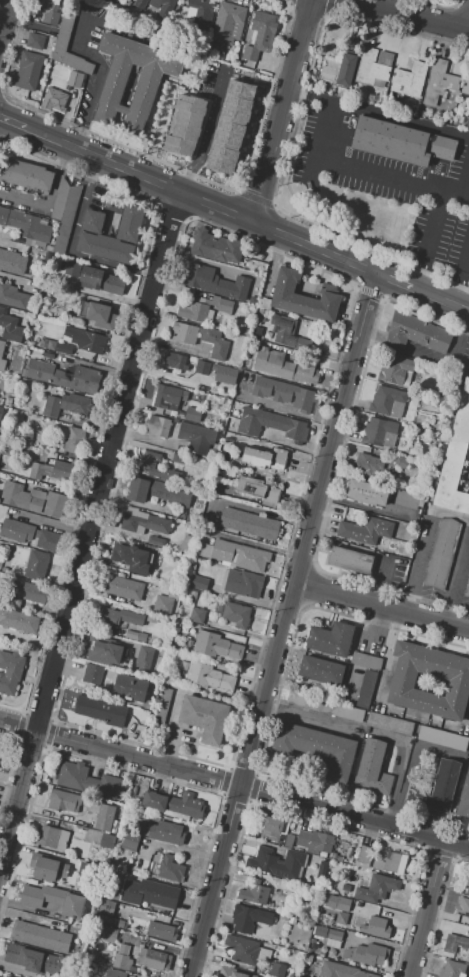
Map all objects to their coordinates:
building: (157, 7)
building: (48, 11)
road: (3, 13)
building: (202, 13)
road: (405, 16)
building: (228, 24)
road: (468, 28)
building: (64, 32)
building: (260, 35)
building: (36, 41)
building: (219, 57)
building: (374, 68)
building: (28, 70)
building: (338, 70)
road: (100, 75)
building: (74, 79)
building: (409, 80)
building: (439, 83)
building: (465, 86)
building: (168, 88)
building: (112, 91)
road: (307, 97)
building: (53, 100)
road: (278, 111)
building: (467, 120)
road: (400, 121)
building: (174, 122)
road: (13, 124)
building: (229, 125)
road: (206, 136)
building: (400, 142)
road: (101, 161)
road: (367, 169)
building: (25, 174)
building: (60, 199)
road: (51, 201)
road: (212, 207)
building: (67, 219)
building: (129, 224)
building: (25, 225)
road: (430, 241)
building: (216, 246)
building: (49, 248)
road: (71, 248)
road: (311, 248)
building: (32, 253)
building: (47, 256)
building: (11, 262)
road: (460, 275)
building: (101, 280)
road: (390, 281)
building: (216, 282)
building: (13, 296)
building: (301, 296)
building: (253, 300)
road: (437, 300)
building: (204, 308)
building: (101, 316)
building: (9, 328)
building: (287, 333)
building: (416, 333)
building: (199, 338)
building: (85, 339)
building: (1, 347)
building: (63, 348)
building: (48, 355)
road: (429, 357)
building: (175, 361)
building: (2, 364)
building: (284, 366)
building: (201, 367)
building: (396, 370)
building: (224, 373)
building: (239, 375)
building: (65, 376)
road: (167, 376)
building: (239, 386)
building: (283, 393)
building: (169, 397)
building: (8, 400)
building: (387, 401)
building: (235, 404)
building: (65, 405)
building: (1, 412)
building: (192, 414)
building: (174, 420)
building: (156, 425)
building: (271, 425)
building: (221, 428)
building: (380, 432)
building: (24, 436)
building: (196, 438)
building: (74, 440)
building: (264, 458)
building: (454, 458)
building: (401, 463)
building: (372, 467)
building: (53, 471)
building: (4, 476)
building: (258, 490)
building: (155, 491)
building: (366, 492)
building: (21, 497)
building: (407, 499)
building: (56, 505)
building: (177, 514)
building: (145, 523)
building: (249, 523)
road: (88, 529)
building: (365, 530)
building: (29, 535)
building: (155, 540)
road: (423, 544)
building: (441, 553)
building: (234, 554)
building: (132, 560)
building: (350, 560)
building: (36, 564)
road: (456, 572)
road: (379, 582)
building: (198, 583)
building: (243, 583)
building: (119, 587)
building: (466, 587)
building: (34, 593)
building: (192, 594)
building: (11, 602)
building: (167, 603)
road: (381, 605)
building: (233, 613)
building: (193, 614)
building: (119, 617)
building: (18, 620)
road: (282, 626)
building: (133, 628)
building: (136, 635)
building: (331, 639)
building: (216, 645)
building: (98, 648)
building: (143, 658)
building: (366, 661)
building: (184, 666)
building: (10, 671)
building: (320, 671)
building: (91, 673)
building: (207, 677)
building: (450, 678)
building: (130, 687)
building: (366, 688)
building: (324, 705)
building: (101, 711)
building: (203, 717)
building: (390, 724)
building: (443, 738)
building: (0, 747)
building: (317, 749)
building: (372, 770)
building: (85, 779)
road: (234, 783)
building: (435, 788)
building: (464, 799)
building: (63, 801)
building: (173, 806)
building: (101, 814)
building: (271, 829)
building: (164, 832)
building: (52, 837)
building: (106, 840)
building: (130, 840)
building: (288, 841)
building: (314, 841)
building: (349, 854)
building: (363, 857)
building: (385, 860)
building: (277, 863)
building: (47, 868)
building: (168, 868)
building: (321, 872)
building: (376, 888)
building: (467, 889)
building: (149, 893)
building: (253, 894)
building: (54, 900)
building: (329, 901)
building: (342, 904)
building: (462, 907)
building: (106, 908)
building: (355, 908)
road: (428, 908)
building: (364, 910)
building: (324, 916)
road: (30, 917)
building: (285, 917)
building: (248, 918)
building: (341, 918)
building: (291, 920)
building: (121, 924)
building: (375, 927)
building: (319, 931)
building: (109, 932)
building: (161, 932)
building: (335, 934)
building: (40, 937)
building: (312, 940)
building: (454, 943)
building: (242, 950)
building: (308, 951)
building: (20, 954)
building: (321, 954)
building: (366, 954)
building: (153, 959)
building: (123, 962)
building: (50, 965)
building: (452, 969)
building: (276, 970)
building: (341, 971)
building: (228, 972)
building: (113, 973)
building: (6, 976)

